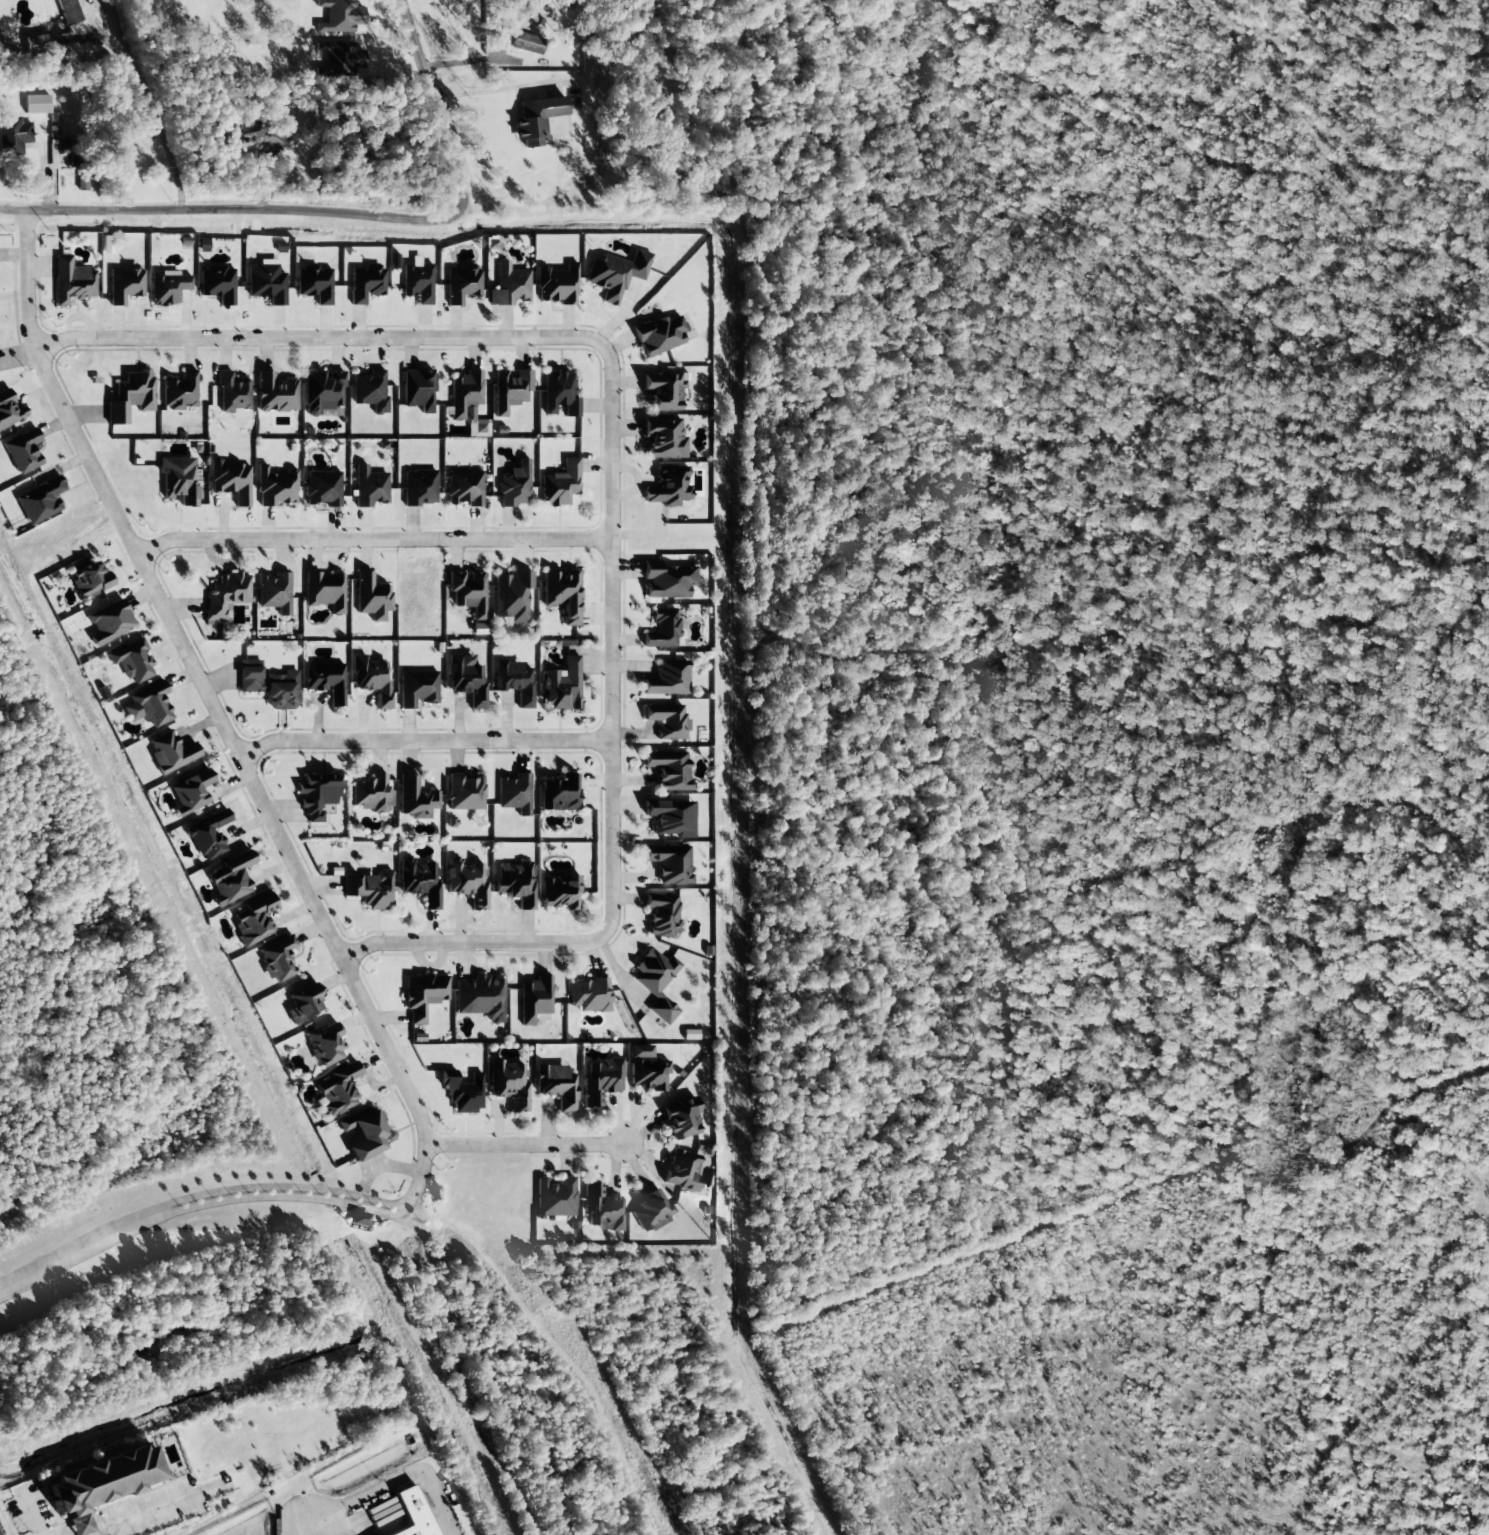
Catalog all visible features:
building: (68, 12)
building: (338, 16)
building: (525, 43)
building: (36, 45)
building: (338, 58)
building: (36, 104)
building: (536, 120)
building: (14, 135)
building: (246, 136)
building: (69, 152)
building: (81, 184)
road: (331, 211)
building: (615, 274)
building: (71, 281)
building: (266, 282)
building: (417, 282)
building: (366, 283)
building: (125, 284)
building: (218, 284)
building: (314, 284)
building: (462, 284)
building: (557, 285)
building: (509, 286)
building: (167, 287)
building: (658, 335)
building: (369, 390)
building: (418, 390)
building: (510, 390)
building: (322, 391)
building: (663, 391)
building: (180, 392)
building: (232, 393)
building: (559, 393)
building: (275, 394)
building: (130, 396)
building: (468, 403)
building: (9, 411)
building: (663, 438)
building: (22, 451)
building: (178, 480)
building: (230, 480)
building: (560, 484)
building: (275, 486)
building: (514, 486)
road: (609, 486)
building: (668, 486)
building: (369, 487)
building: (419, 488)
building: (464, 488)
building: (322, 489)
building: (40, 501)
road: (370, 539)
building: (90, 580)
building: (667, 580)
building: (324, 591)
building: (467, 592)
building: (274, 593)
building: (562, 595)
building: (225, 596)
building: (511, 596)
building: (371, 597)
building: (109, 622)
building: (662, 629)
building: (131, 661)
building: (371, 679)
building: (466, 679)
building: (667, 679)
building: (326, 681)
building: (514, 681)
building: (563, 686)
building: (271, 687)
building: (417, 688)
building: (148, 705)
building: (667, 721)
road: (216, 724)
road: (417, 743)
building: (170, 753)
building: (668, 770)
building: (190, 791)
building: (465, 792)
building: (371, 794)
building: (514, 794)
building: (560, 794)
building: (317, 795)
building: (415, 799)
building: (670, 818)
building: (208, 835)
building: (669, 862)
building: (229, 879)
building: (419, 881)
building: (467, 882)
building: (516, 883)
building: (369, 889)
building: (559, 892)
building: (661, 914)
building: (254, 919)
building: (277, 959)
building: (656, 983)
building: (422, 995)
building: (588, 995)
building: (480, 998)
building: (534, 999)
building: (304, 1004)
building: (689, 1035)
building: (324, 1044)
building: (646, 1069)
building: (601, 1081)
building: (508, 1084)
building: (556, 1086)
building: (338, 1089)
building: (680, 1119)
building: (365, 1133)
road: (525, 1149)
building: (681, 1170)
road: (286, 1186)
building: (554, 1197)
road: (287, 1199)
building: (601, 1208)
building: (650, 1212)
building: (358, 1219)
road: (83, 1254)
building: (94, 1479)
road: (388, 1483)
building: (407, 1513)
building: (75, 1524)

